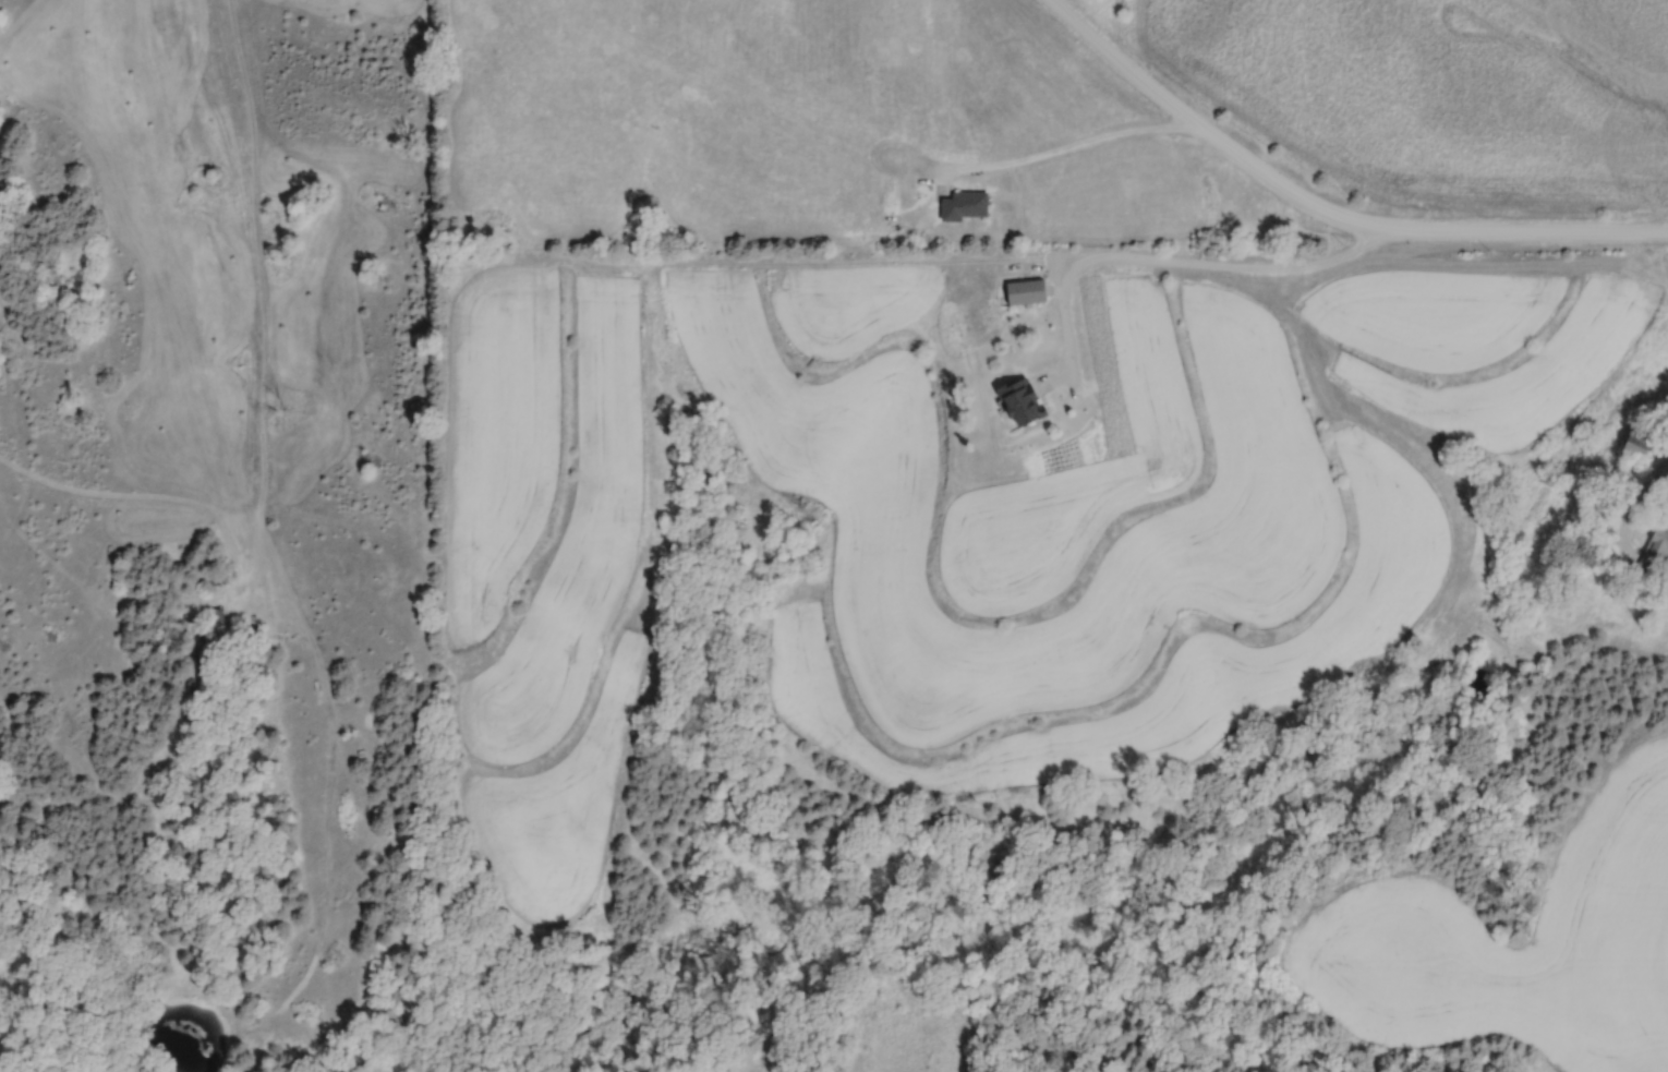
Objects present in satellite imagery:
road: (1073, 150)
building: (959, 205)
road: (1322, 213)
road: (1172, 263)
building: (1022, 291)
building: (1015, 401)
building: (1632, 443)
road: (1634, 509)
building: (1653, 551)

